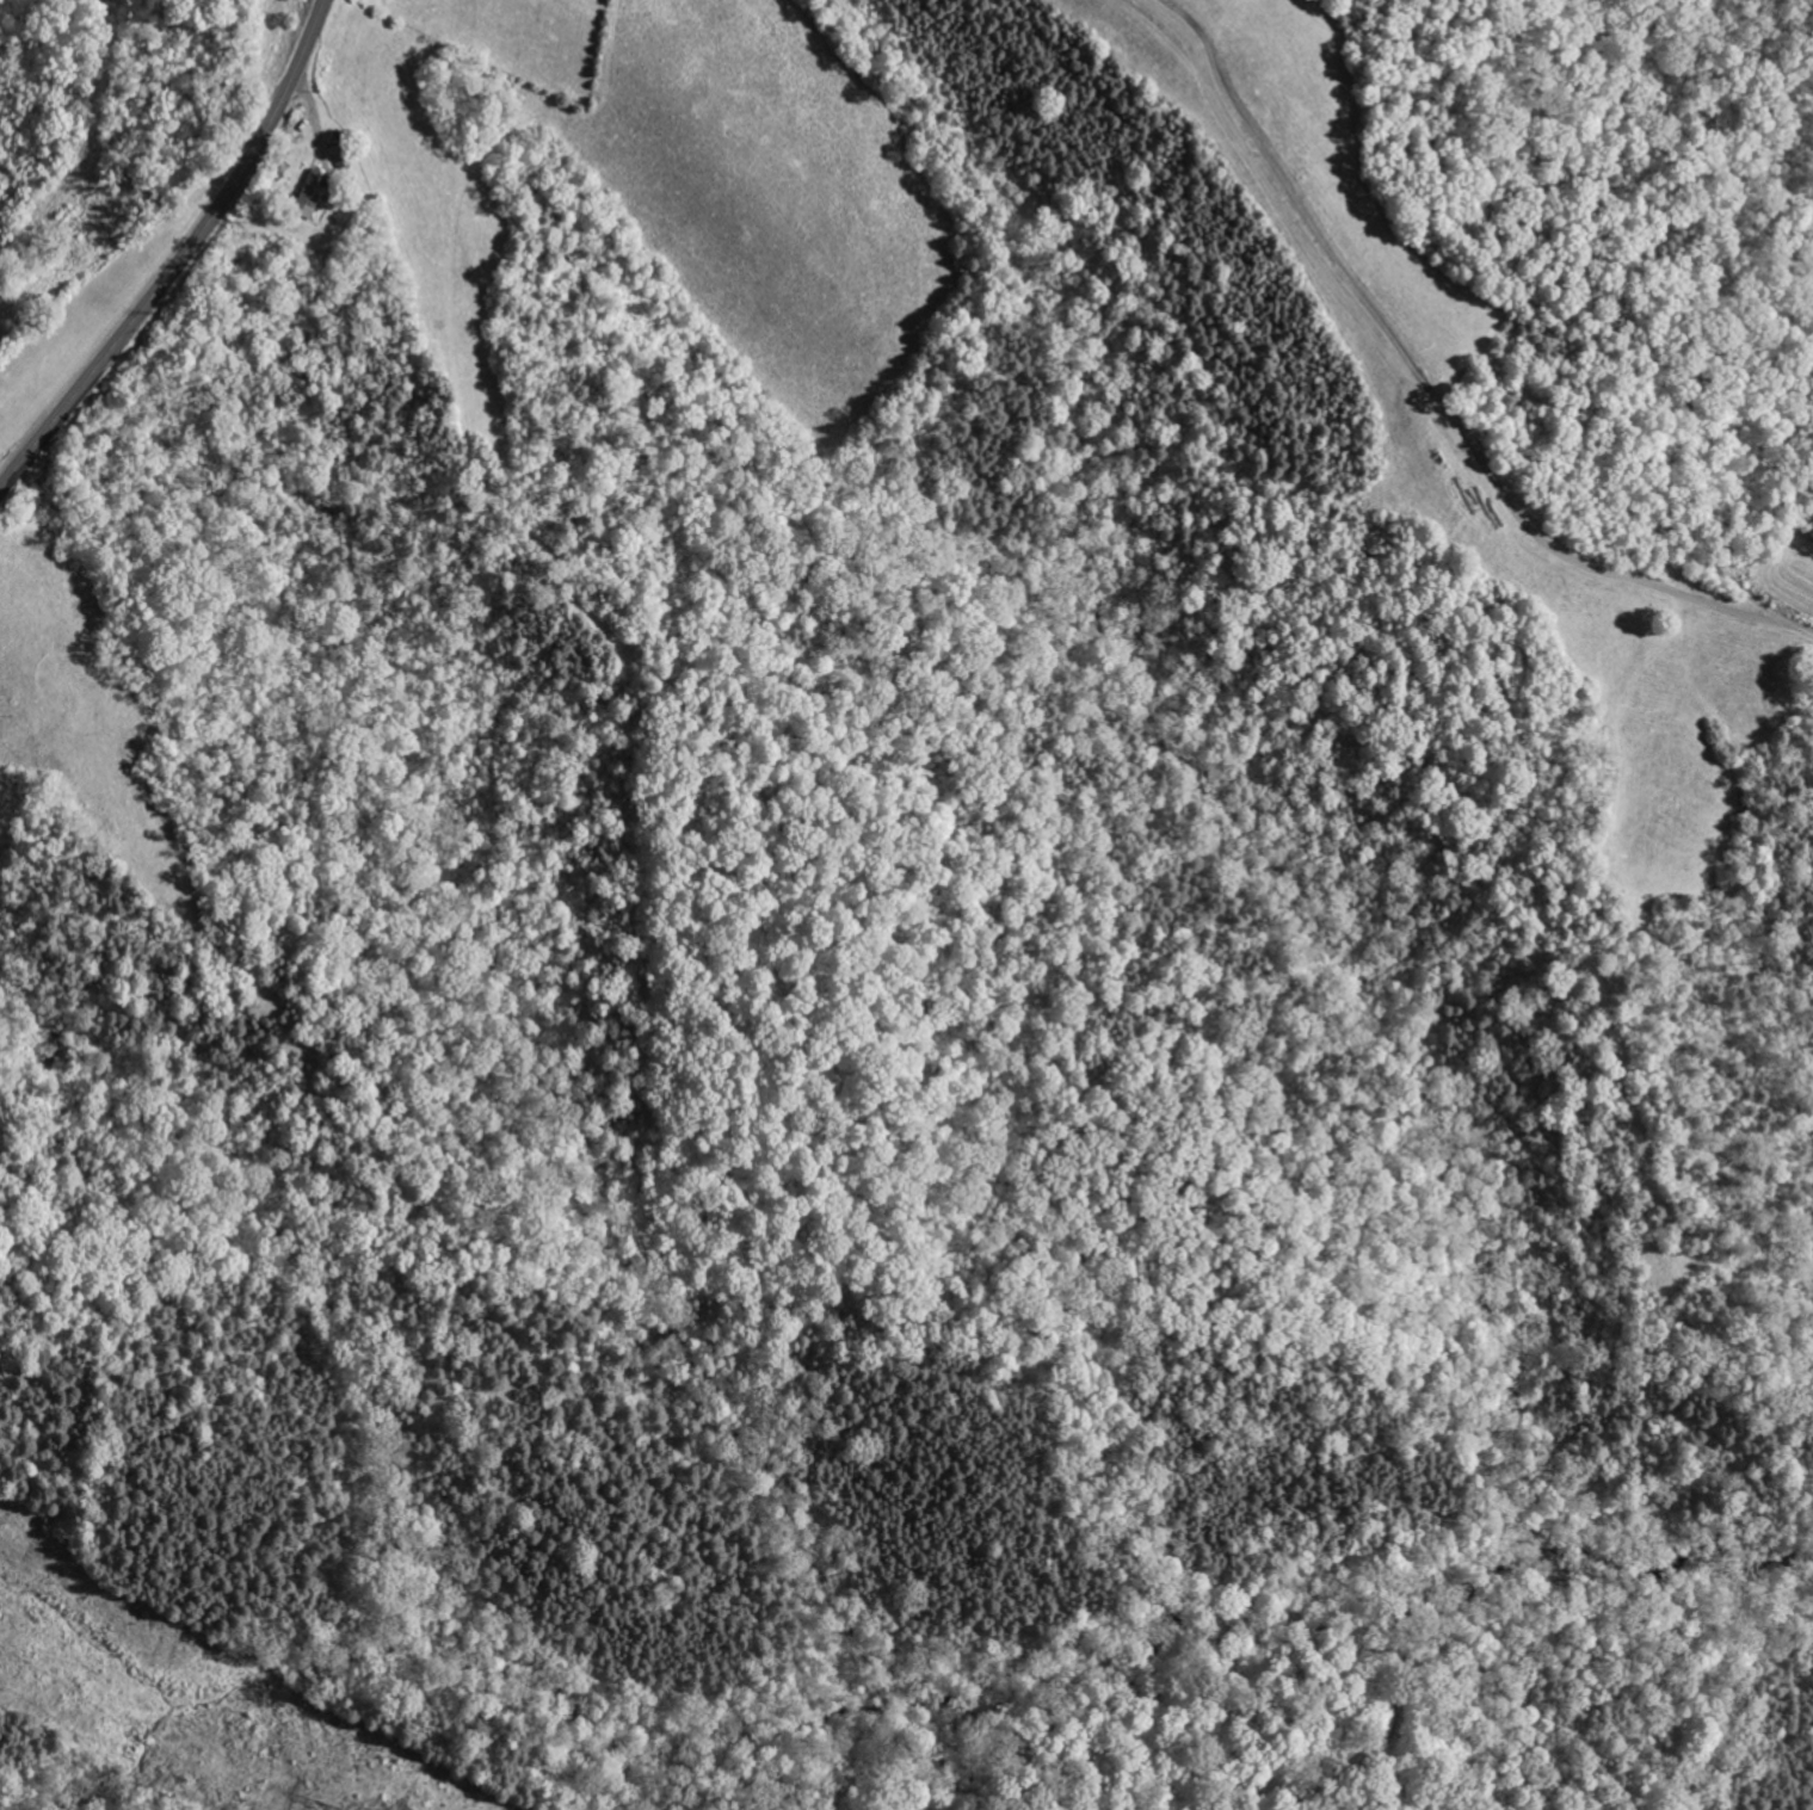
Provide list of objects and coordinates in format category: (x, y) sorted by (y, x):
building: (304, 194)
road: (185, 258)
road: (1420, 369)

